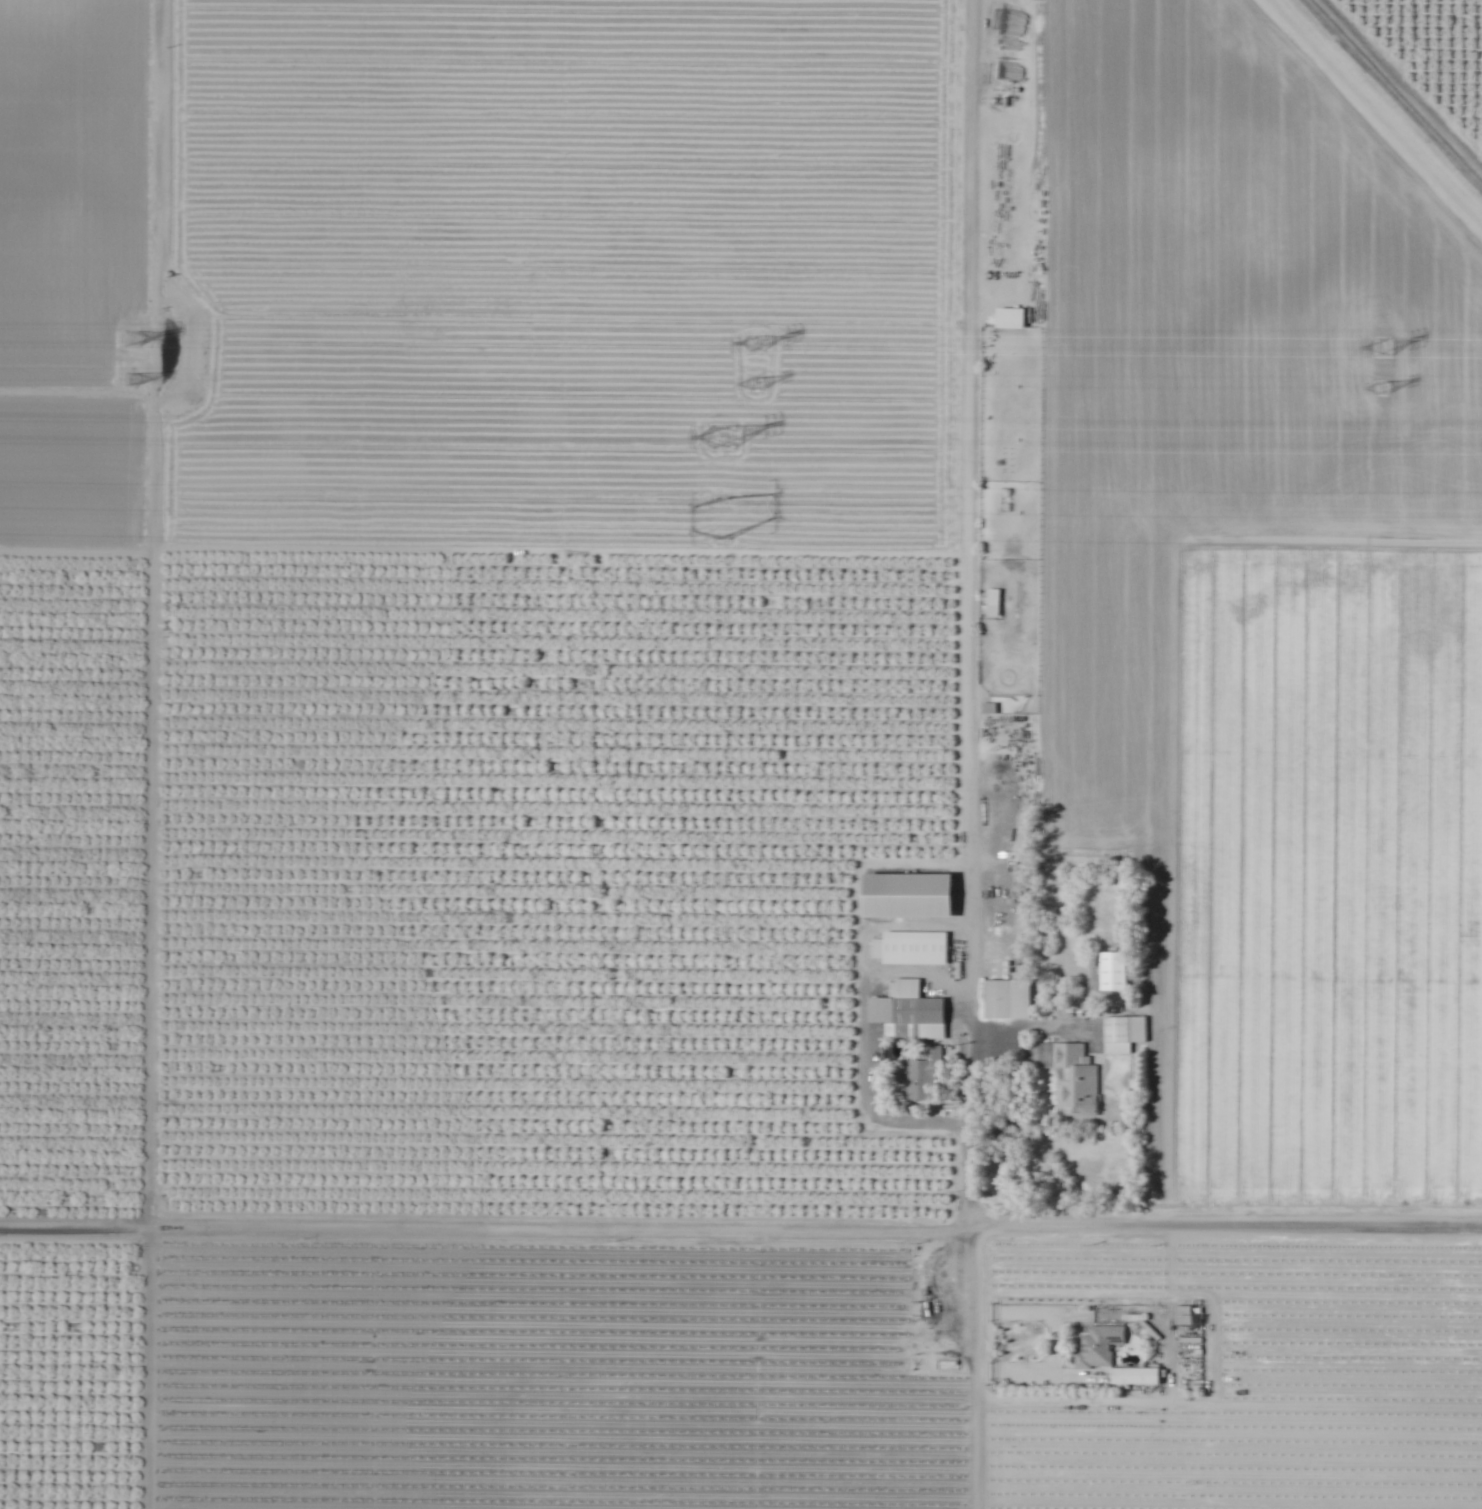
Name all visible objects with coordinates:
road: (1405, 81)
railway: (1393, 94)
power tower: (135, 342)
power tower: (762, 344)
power tower: (1384, 349)
power tower: (138, 384)
power tower: (764, 386)
power tower: (1388, 390)
power tower: (730, 446)
power tower: (727, 520)
road: (74, 549)
building: (992, 602)
building: (987, 709)
road: (146, 754)
crop: (741, 754)
road: (992, 754)
building: (904, 896)
building: (1006, 1000)
building: (906, 1013)
building: (1122, 1034)
building: (1069, 1077)
building: (919, 1078)
road: (740, 1227)
building: (1097, 1345)
building: (1129, 1376)

